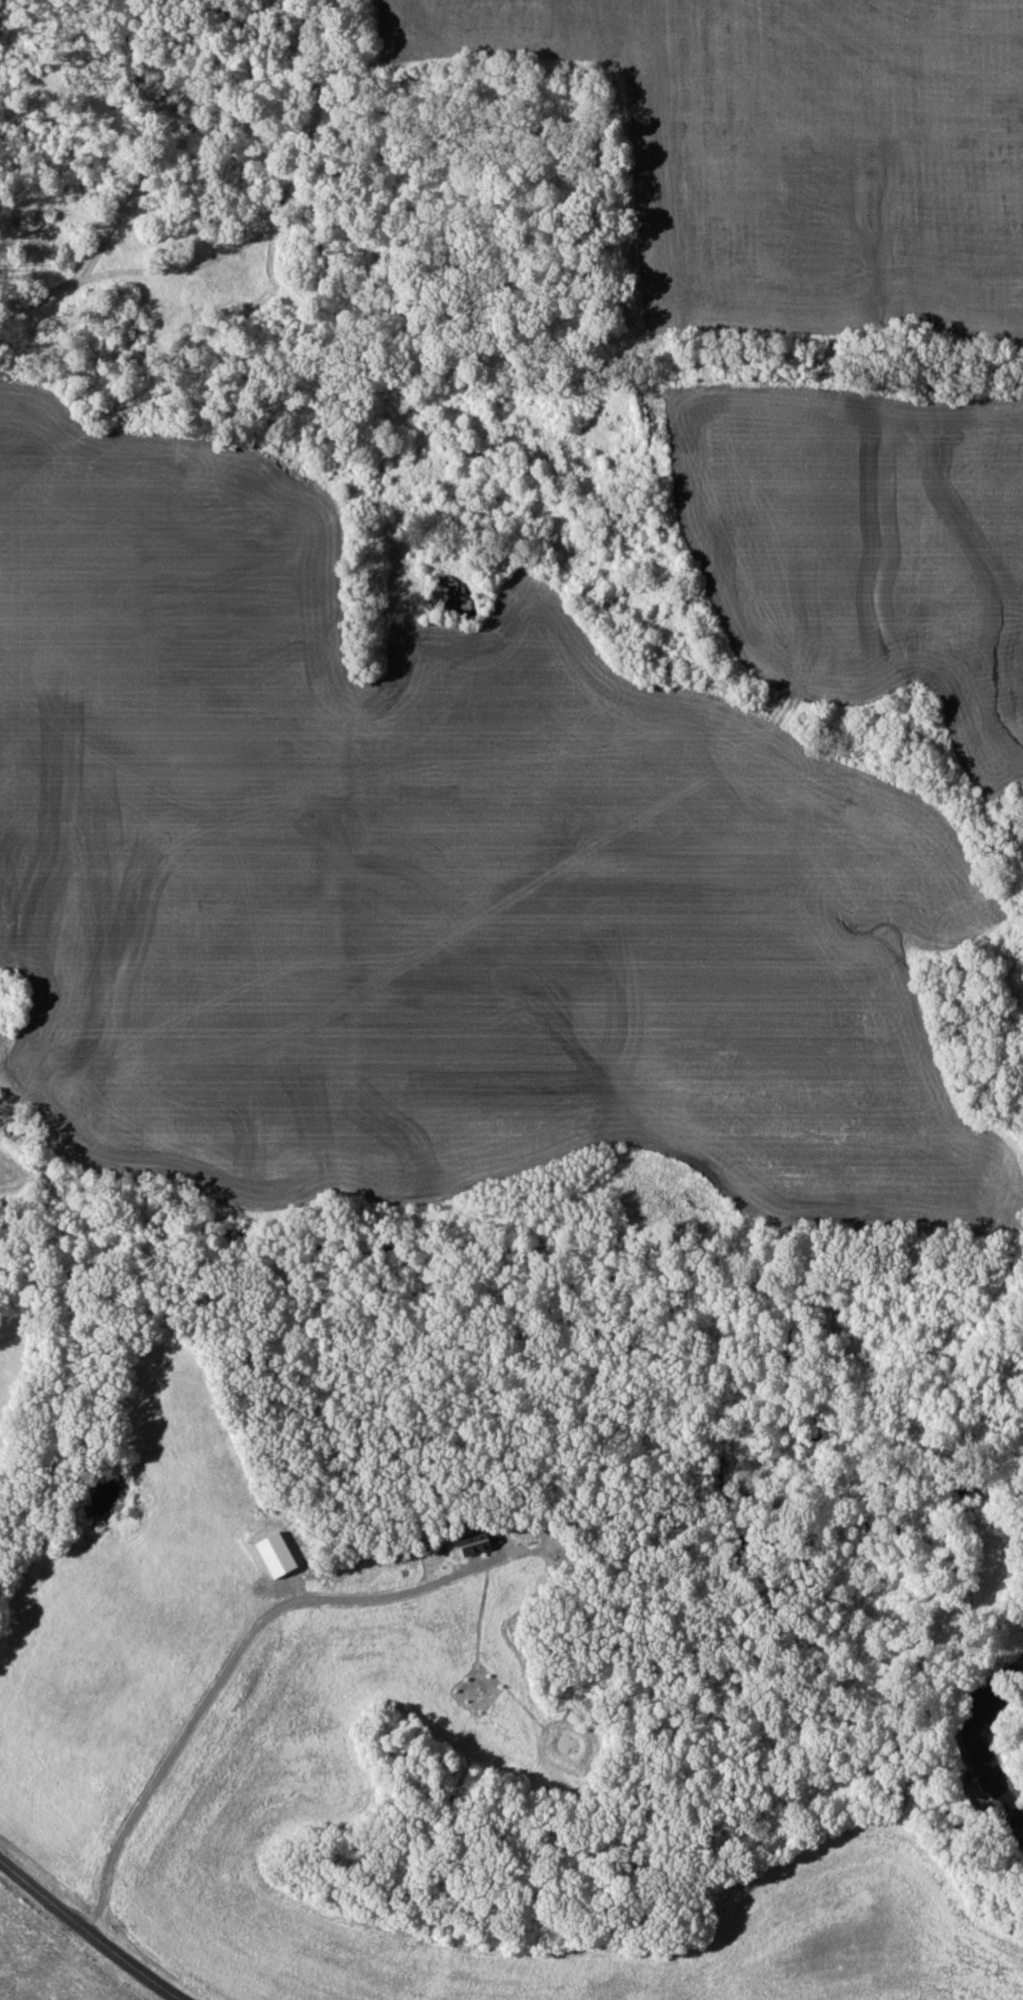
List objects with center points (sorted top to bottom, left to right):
road: (220, 1671)
river: (995, 1714)
road: (92, 1933)

